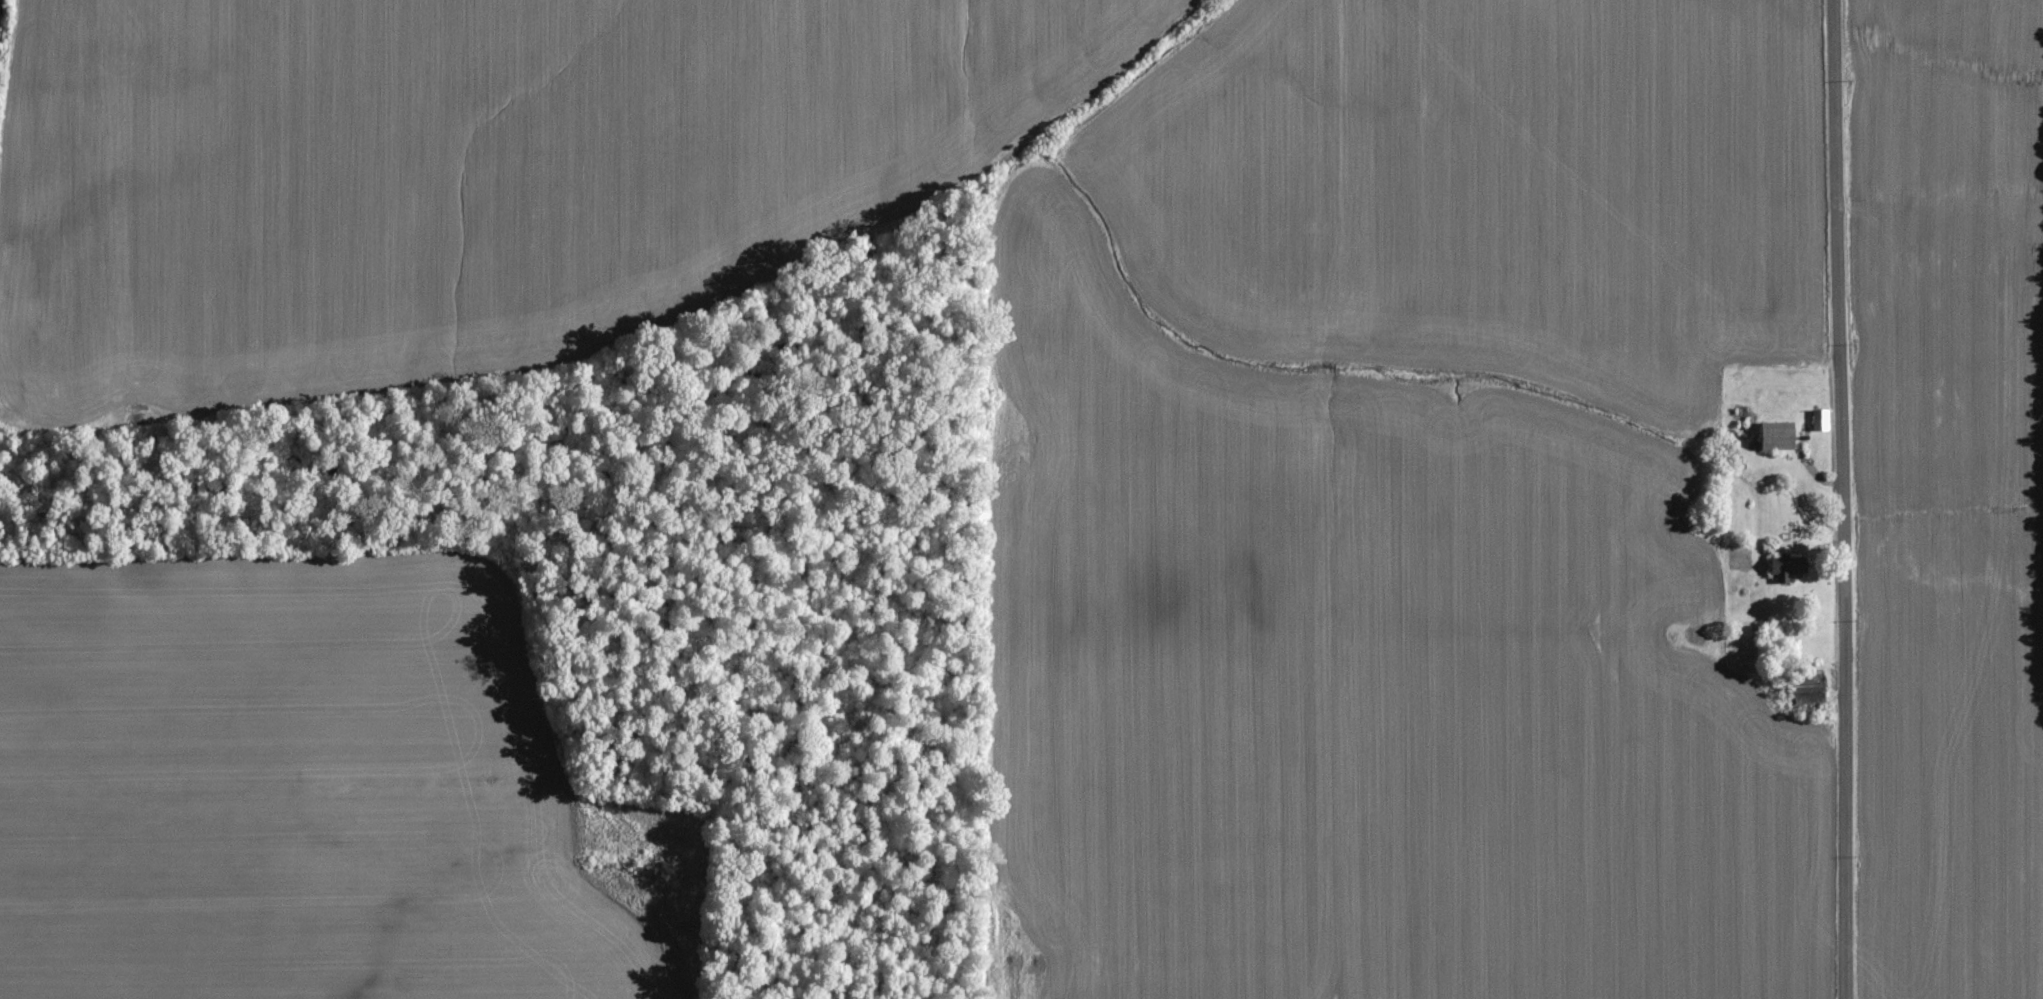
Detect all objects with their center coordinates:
building: (1784, 433)
road: (1841, 499)
building: (1782, 567)

